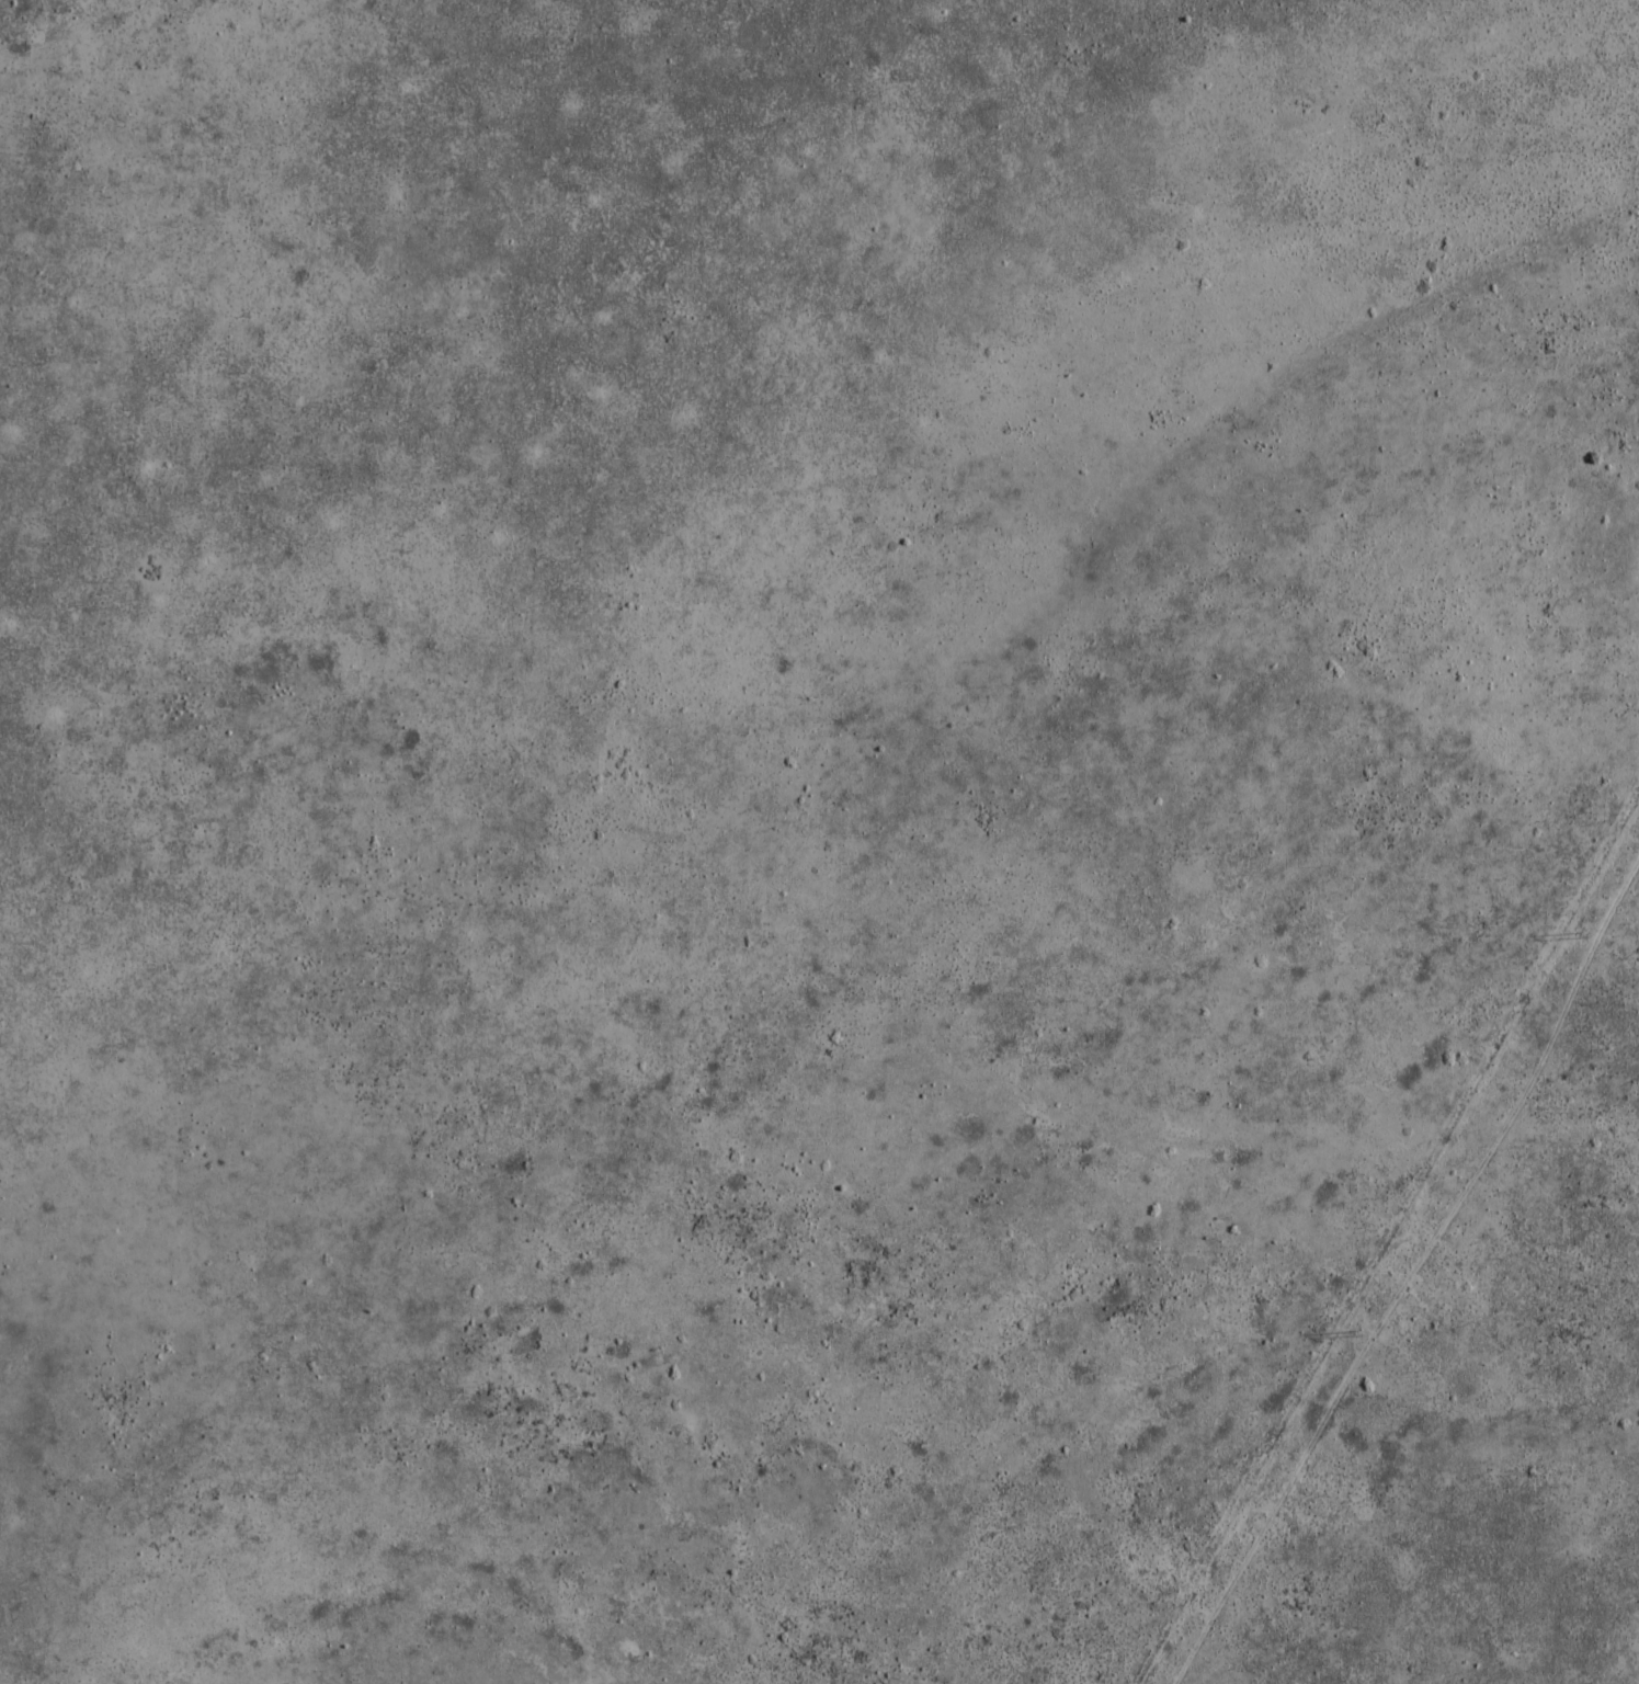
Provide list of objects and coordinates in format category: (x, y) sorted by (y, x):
aerialway pylon: (1584, 933)
road: (1414, 1276)
aerialway pylon: (1359, 1332)

